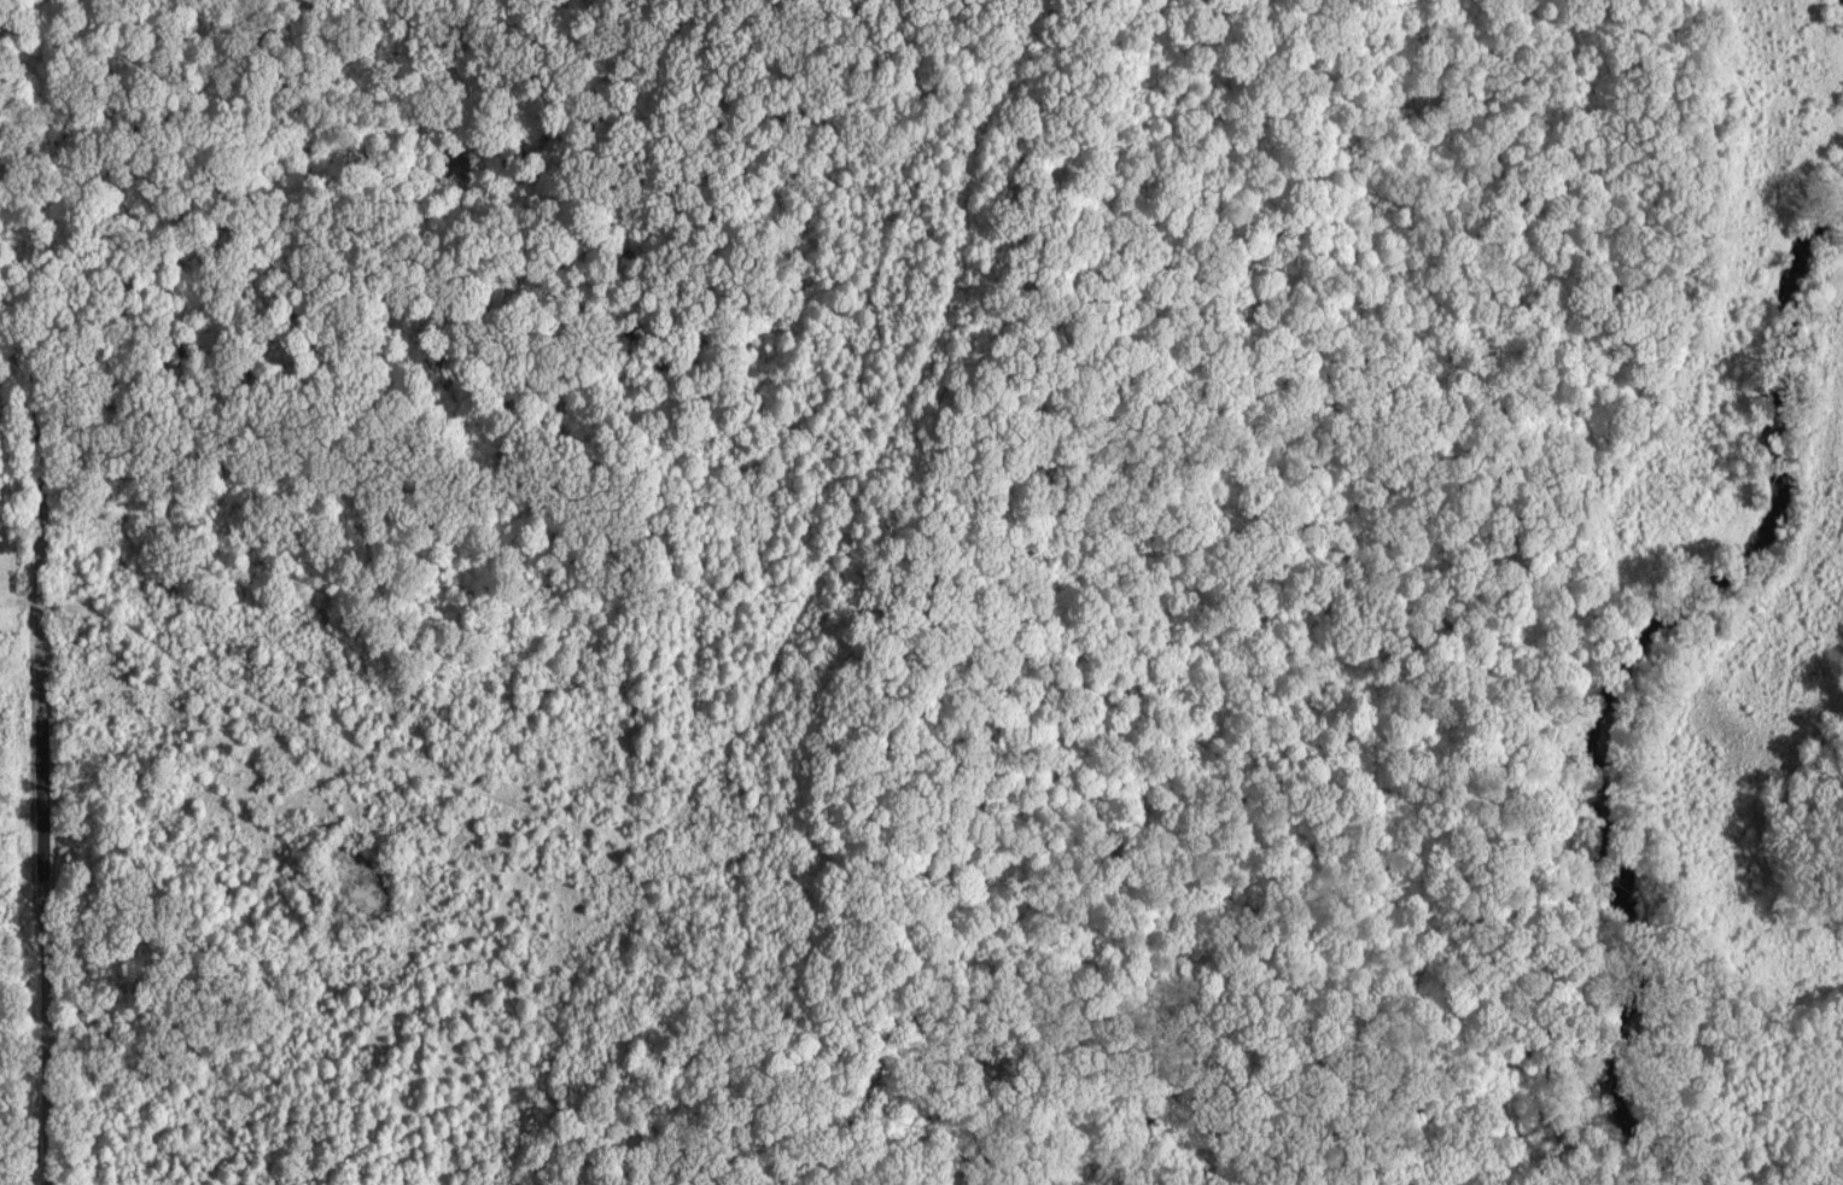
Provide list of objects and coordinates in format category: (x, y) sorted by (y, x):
road: (39, 757)

